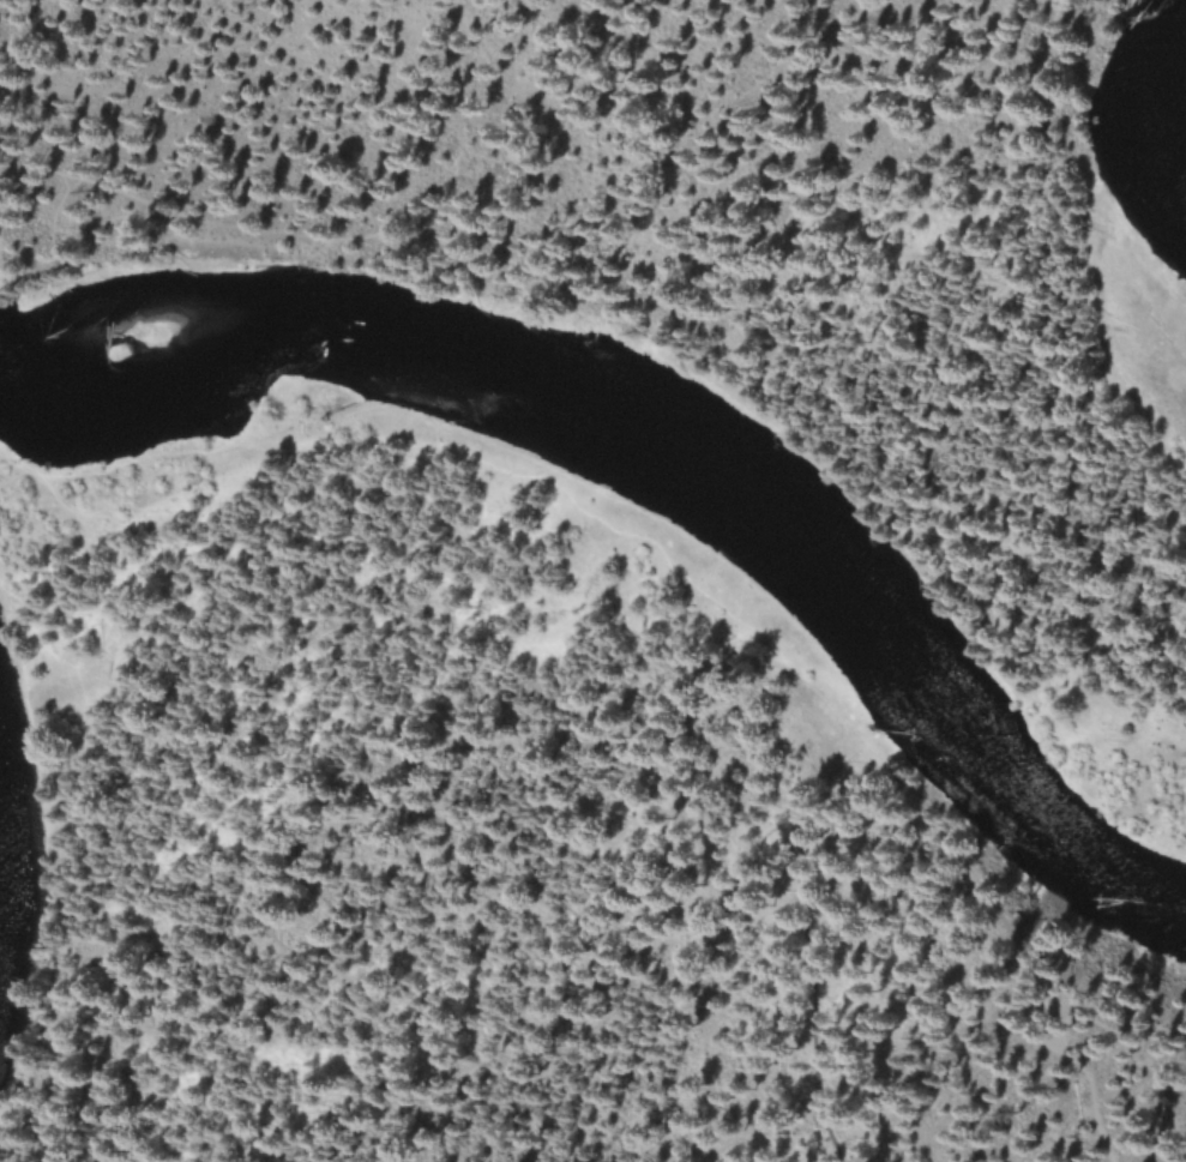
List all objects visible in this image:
river: (1140, 104)
road: (576, 272)
river: (670, 452)
road: (508, 589)
river: (8, 889)
road: (799, 935)
road: (1094, 1097)

